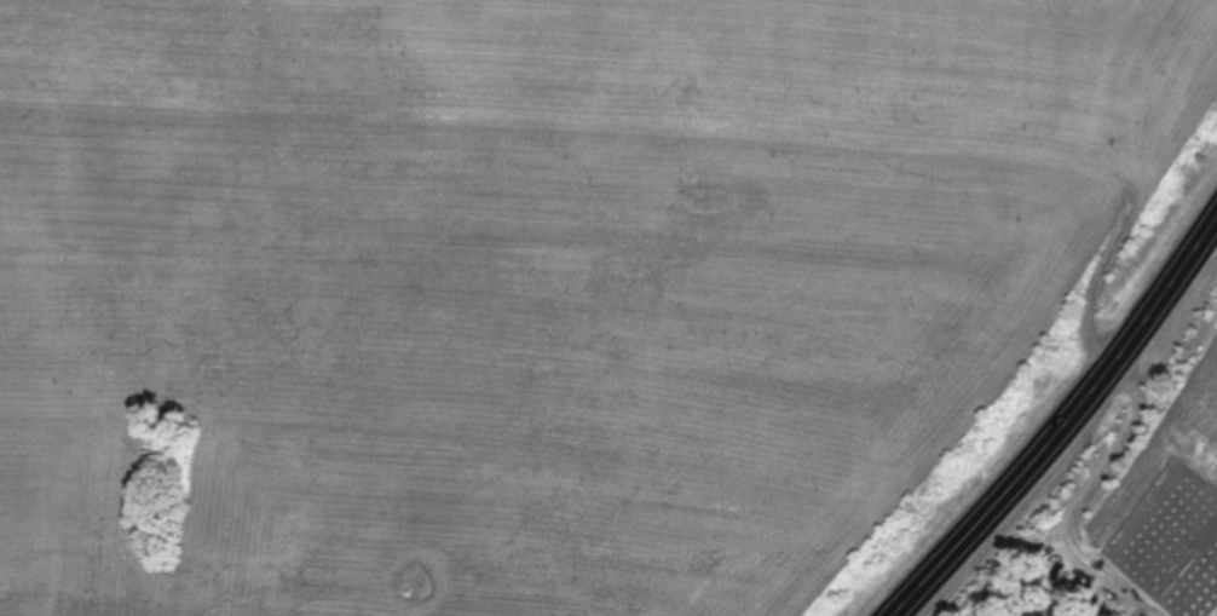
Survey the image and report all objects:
road: (1056, 421)
road: (1083, 496)

